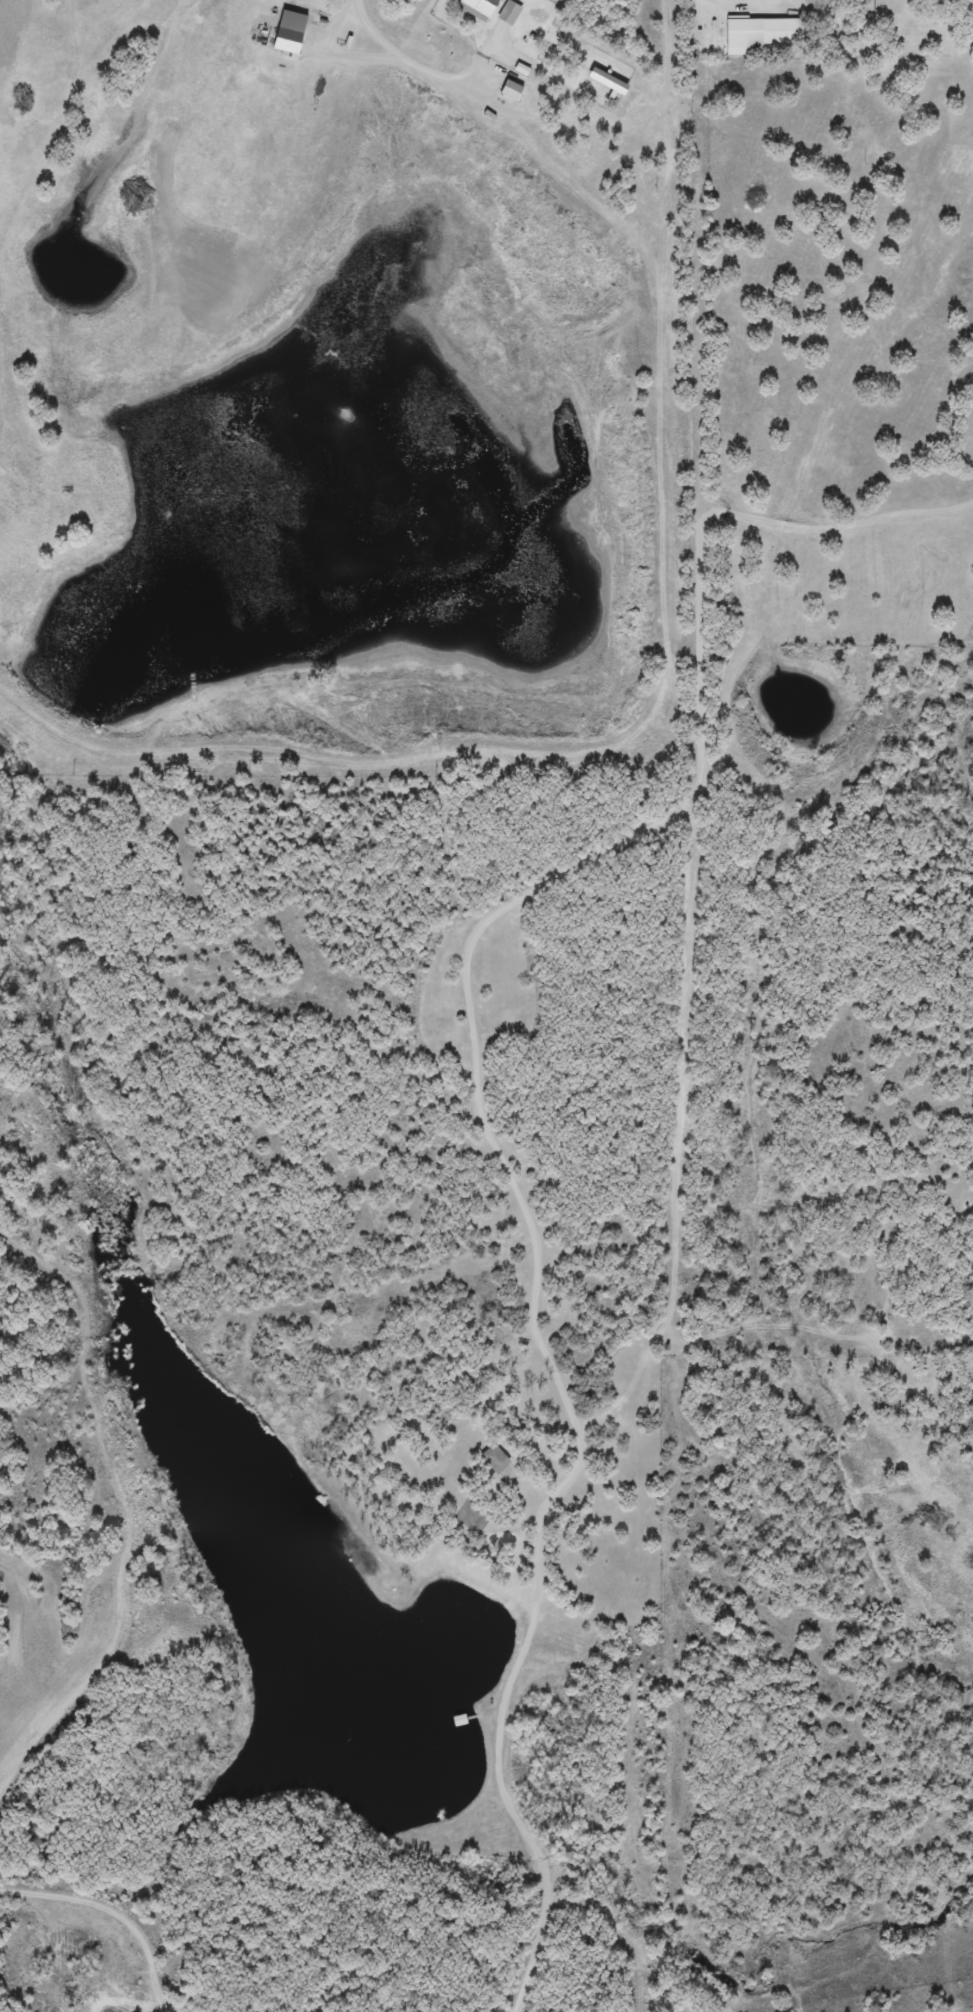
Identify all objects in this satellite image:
building: (475, 8)
building: (874, 10)
building: (507, 14)
building: (285, 31)
building: (742, 32)
building: (494, 1459)

